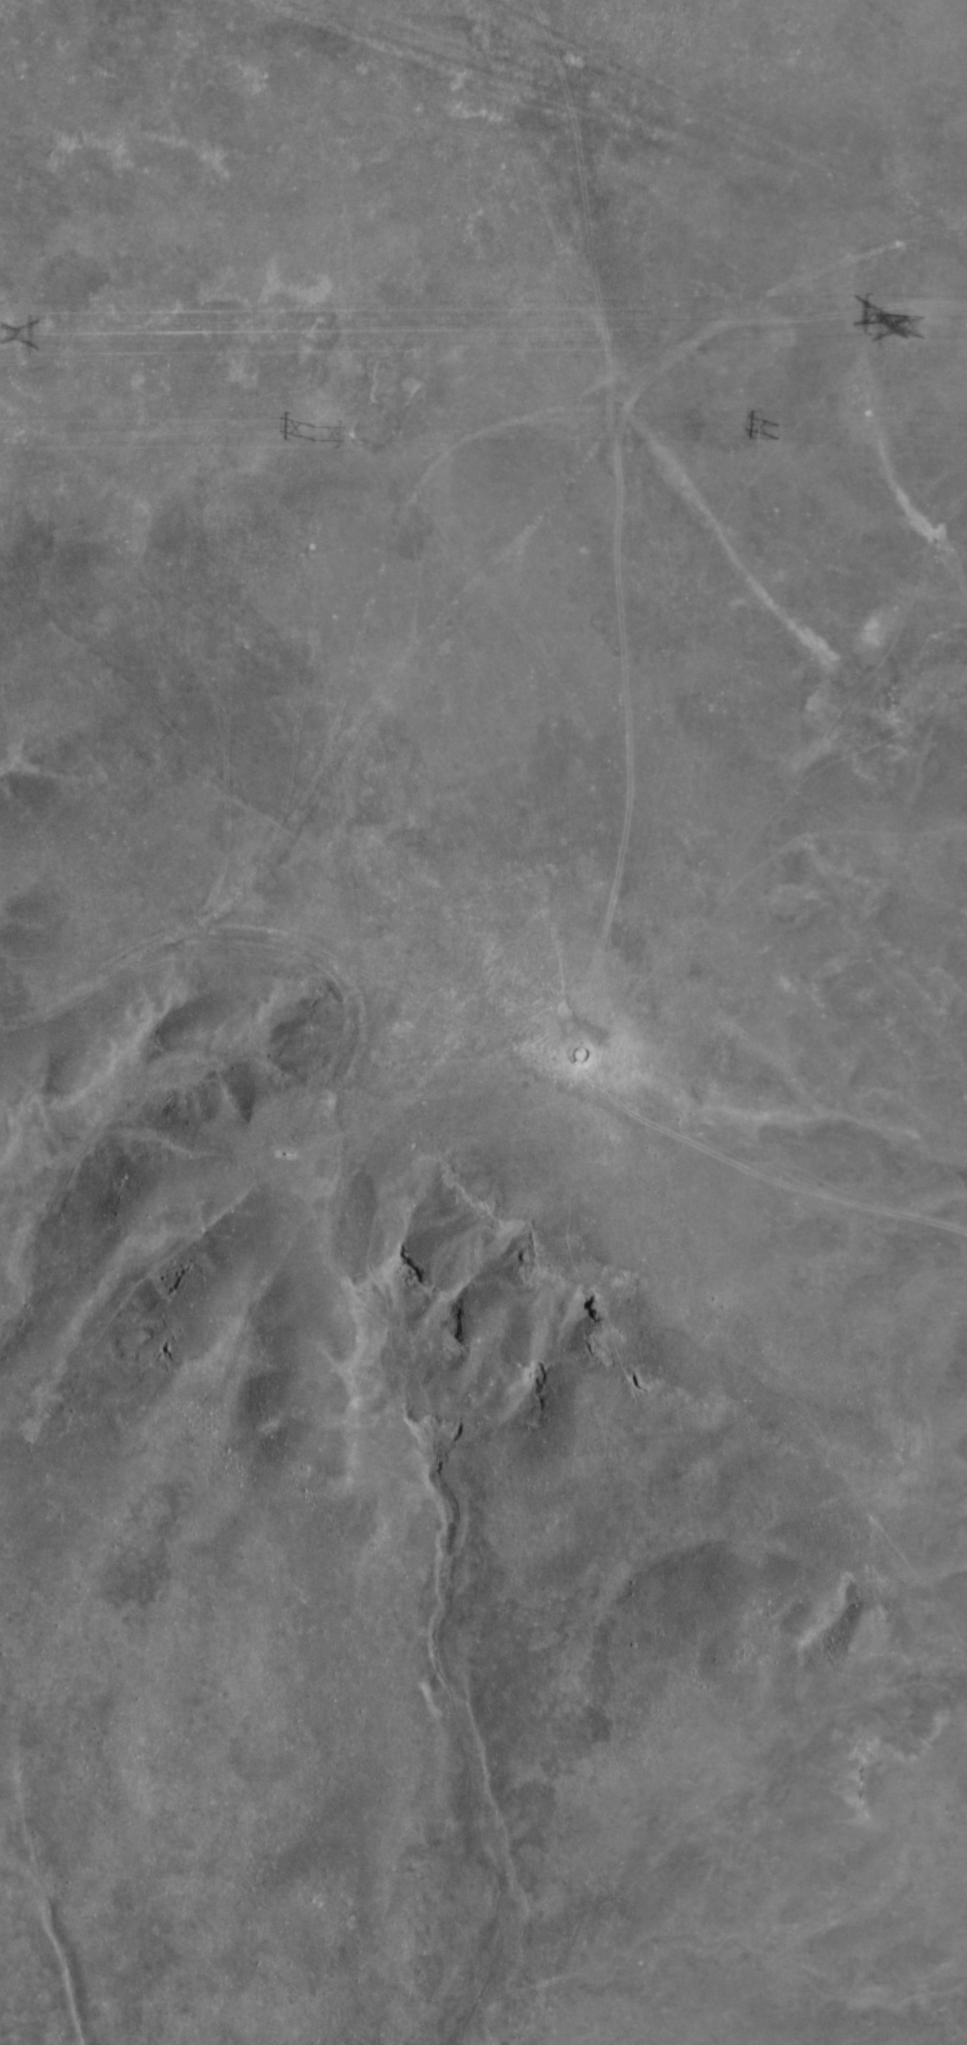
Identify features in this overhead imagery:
power tower: (914, 326)
power tower: (315, 429)
power tower: (777, 429)

